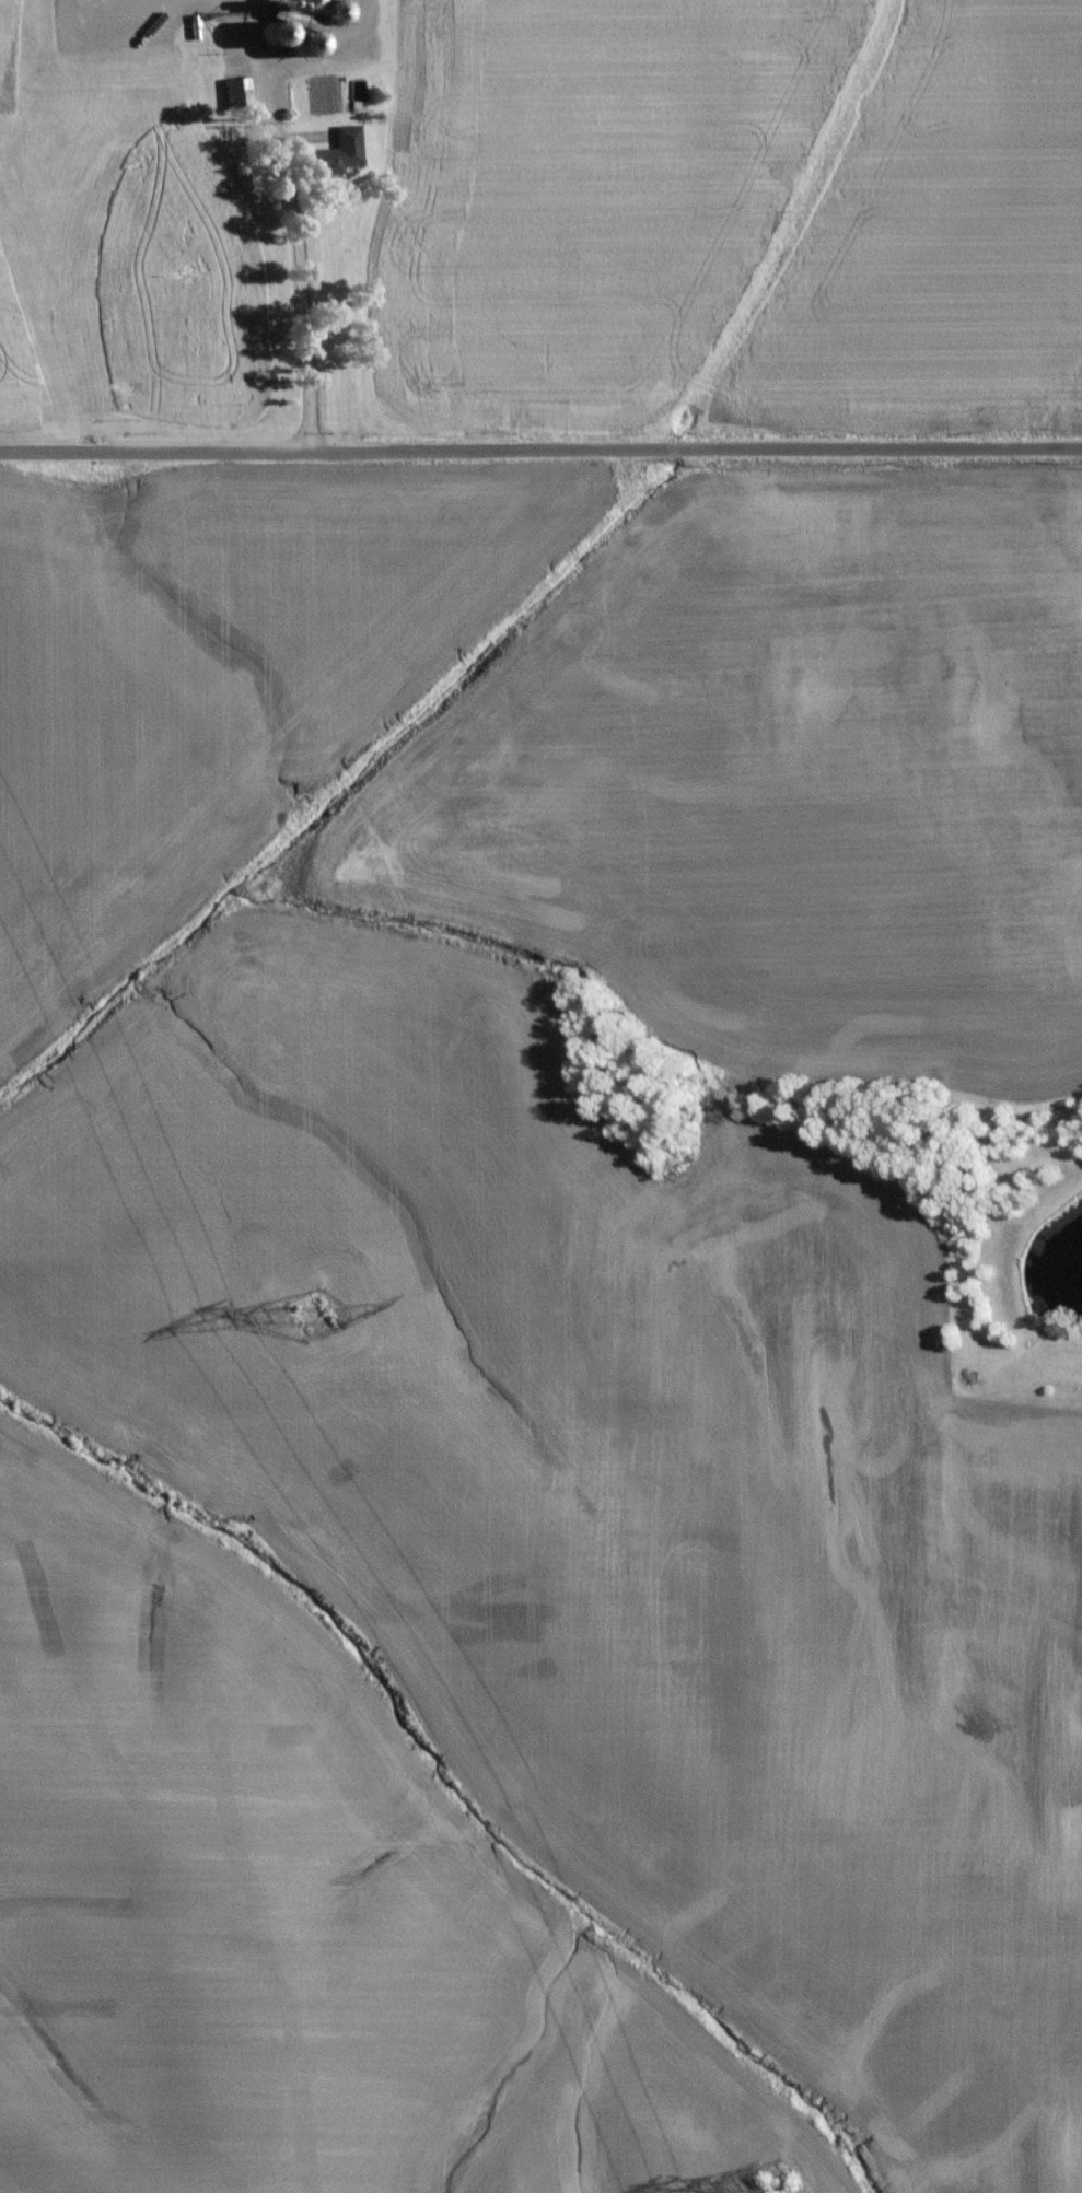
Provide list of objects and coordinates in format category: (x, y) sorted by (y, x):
building: (231, 100)
building: (330, 162)
road: (294, 238)
road: (540, 455)
power tower: (299, 1328)
power tower: (765, 2190)

